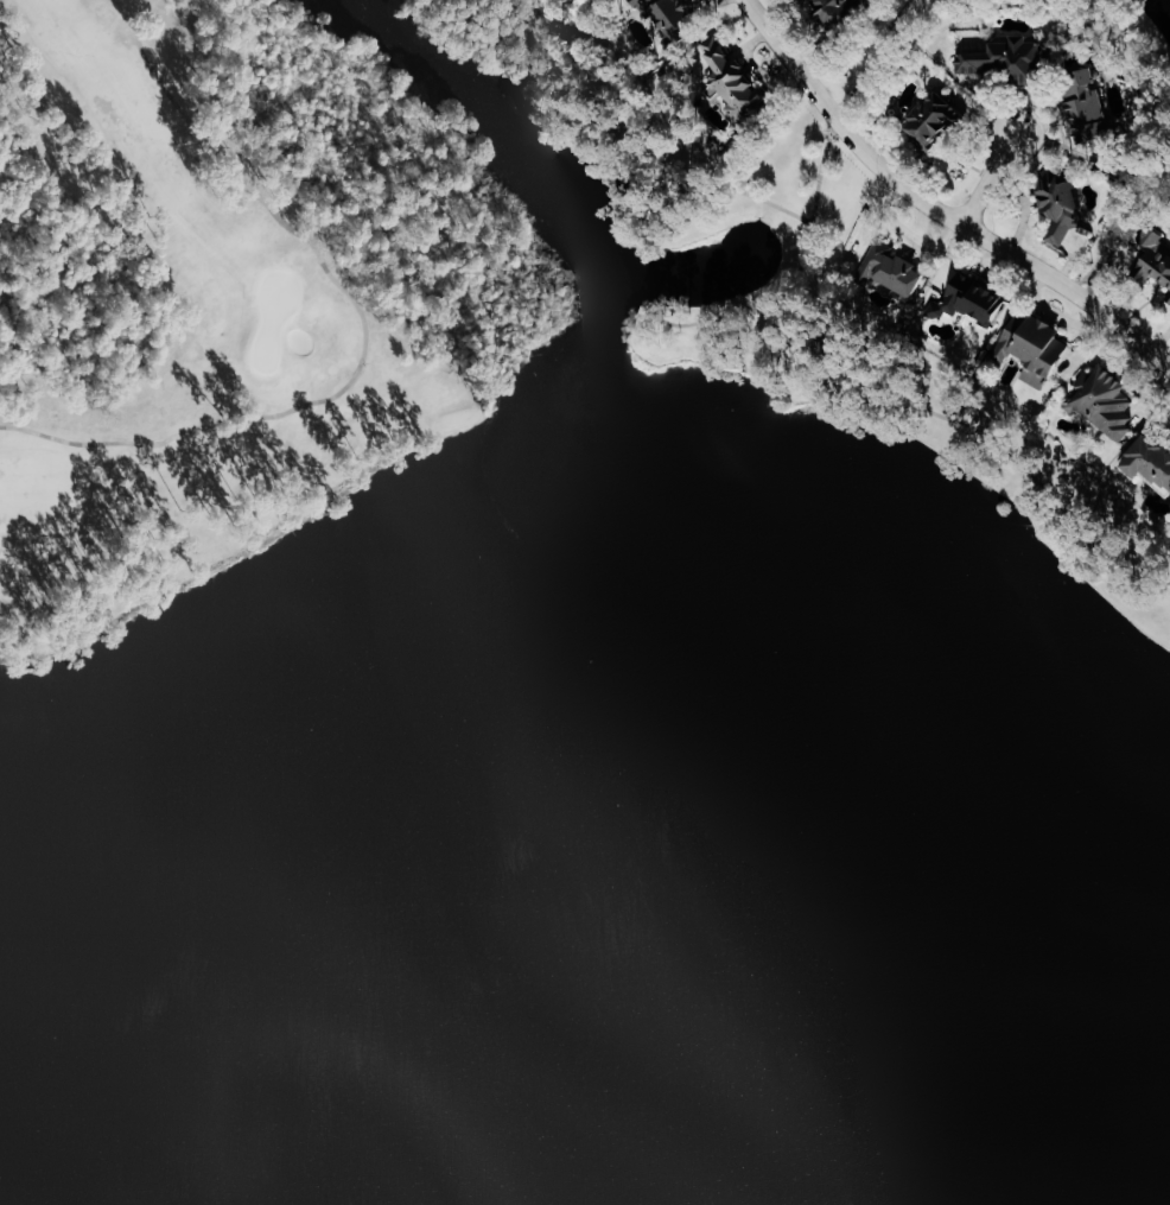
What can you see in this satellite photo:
building: (667, 12)
building: (834, 12)
building: (1010, 61)
road: (1147, 70)
building: (727, 82)
road: (844, 103)
building: (1090, 109)
building: (936, 121)
road: (641, 148)
road: (988, 179)
building: (1054, 201)
road: (936, 205)
building: (1147, 258)
building: (886, 267)
building: (964, 300)
park: (272, 313)
road: (710, 317)
road: (368, 329)
building: (1026, 348)
park: (201, 374)
building: (1096, 401)
road: (930, 410)
building: (1146, 461)

